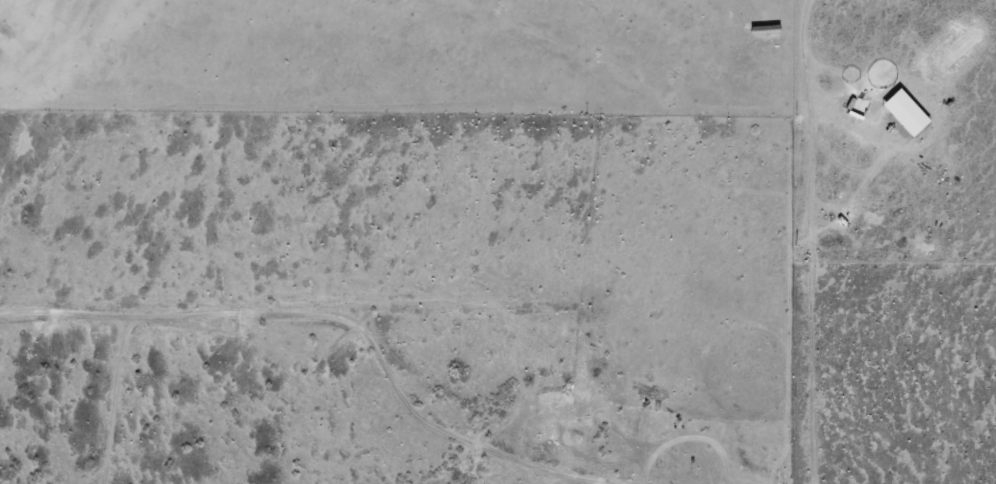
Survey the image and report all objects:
building: (765, 30)
road: (329, 322)
building: (560, 398)
building: (742, 483)

